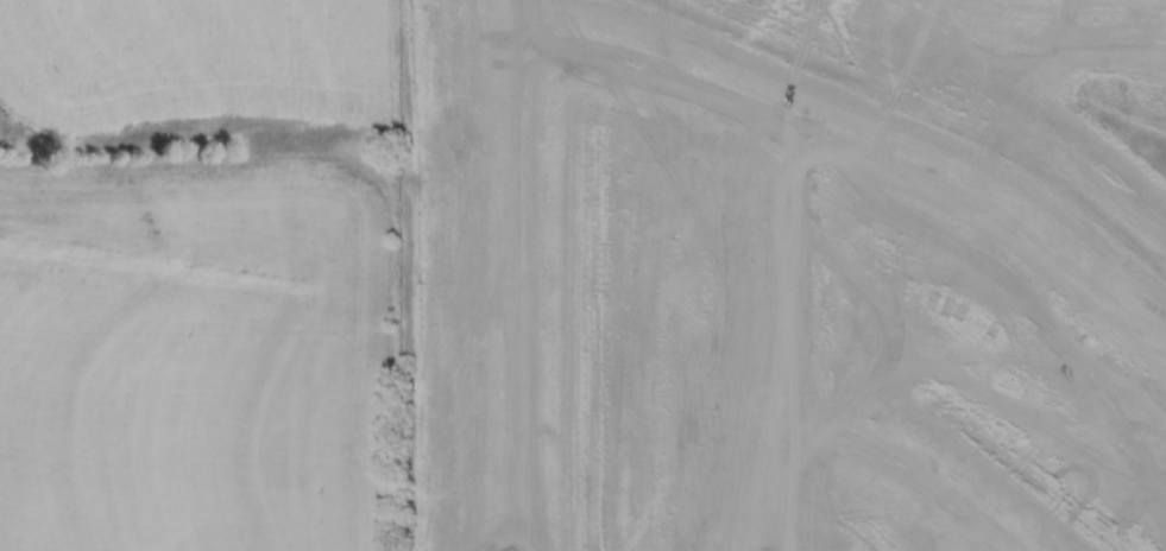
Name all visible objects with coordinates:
road: (871, 148)
road: (534, 275)
road: (783, 335)
road: (905, 473)

